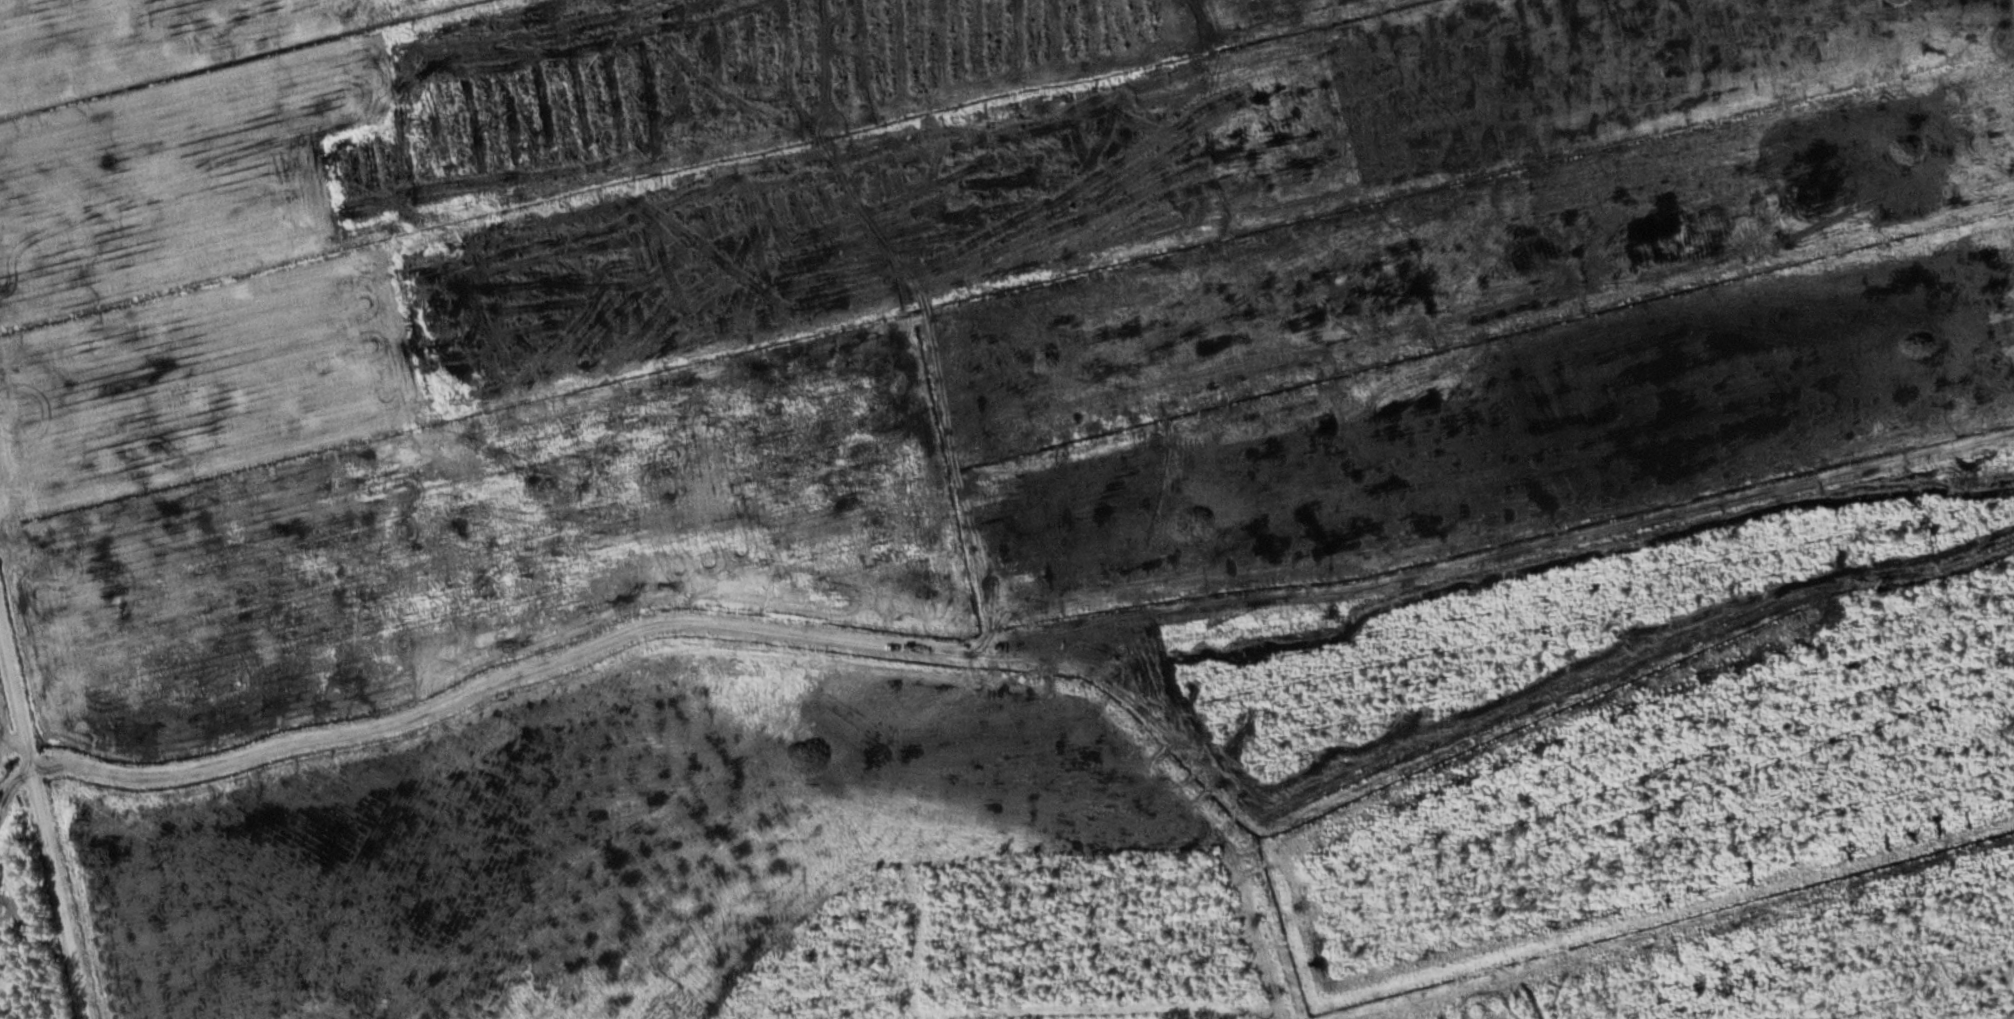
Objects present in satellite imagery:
road: (521, 671)
road: (41, 828)

